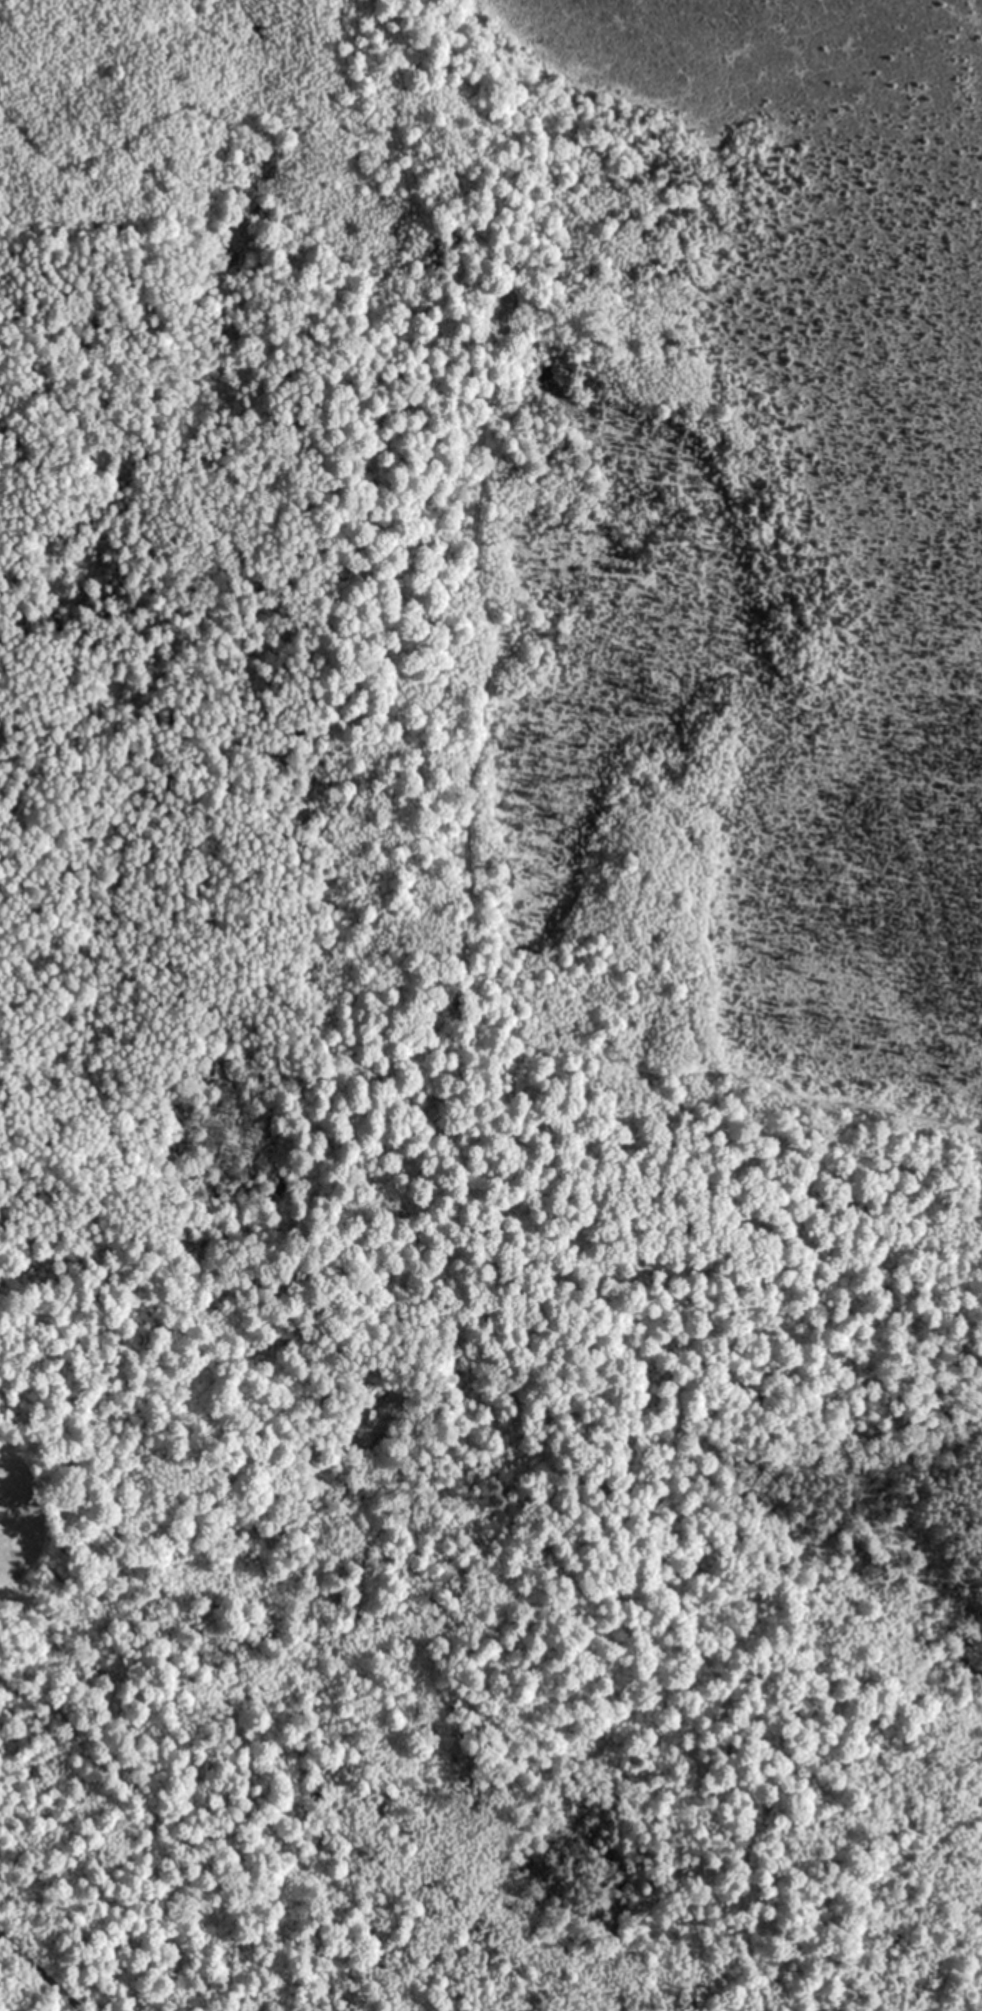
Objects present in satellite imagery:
road: (454, 1052)
road: (41, 1974)

